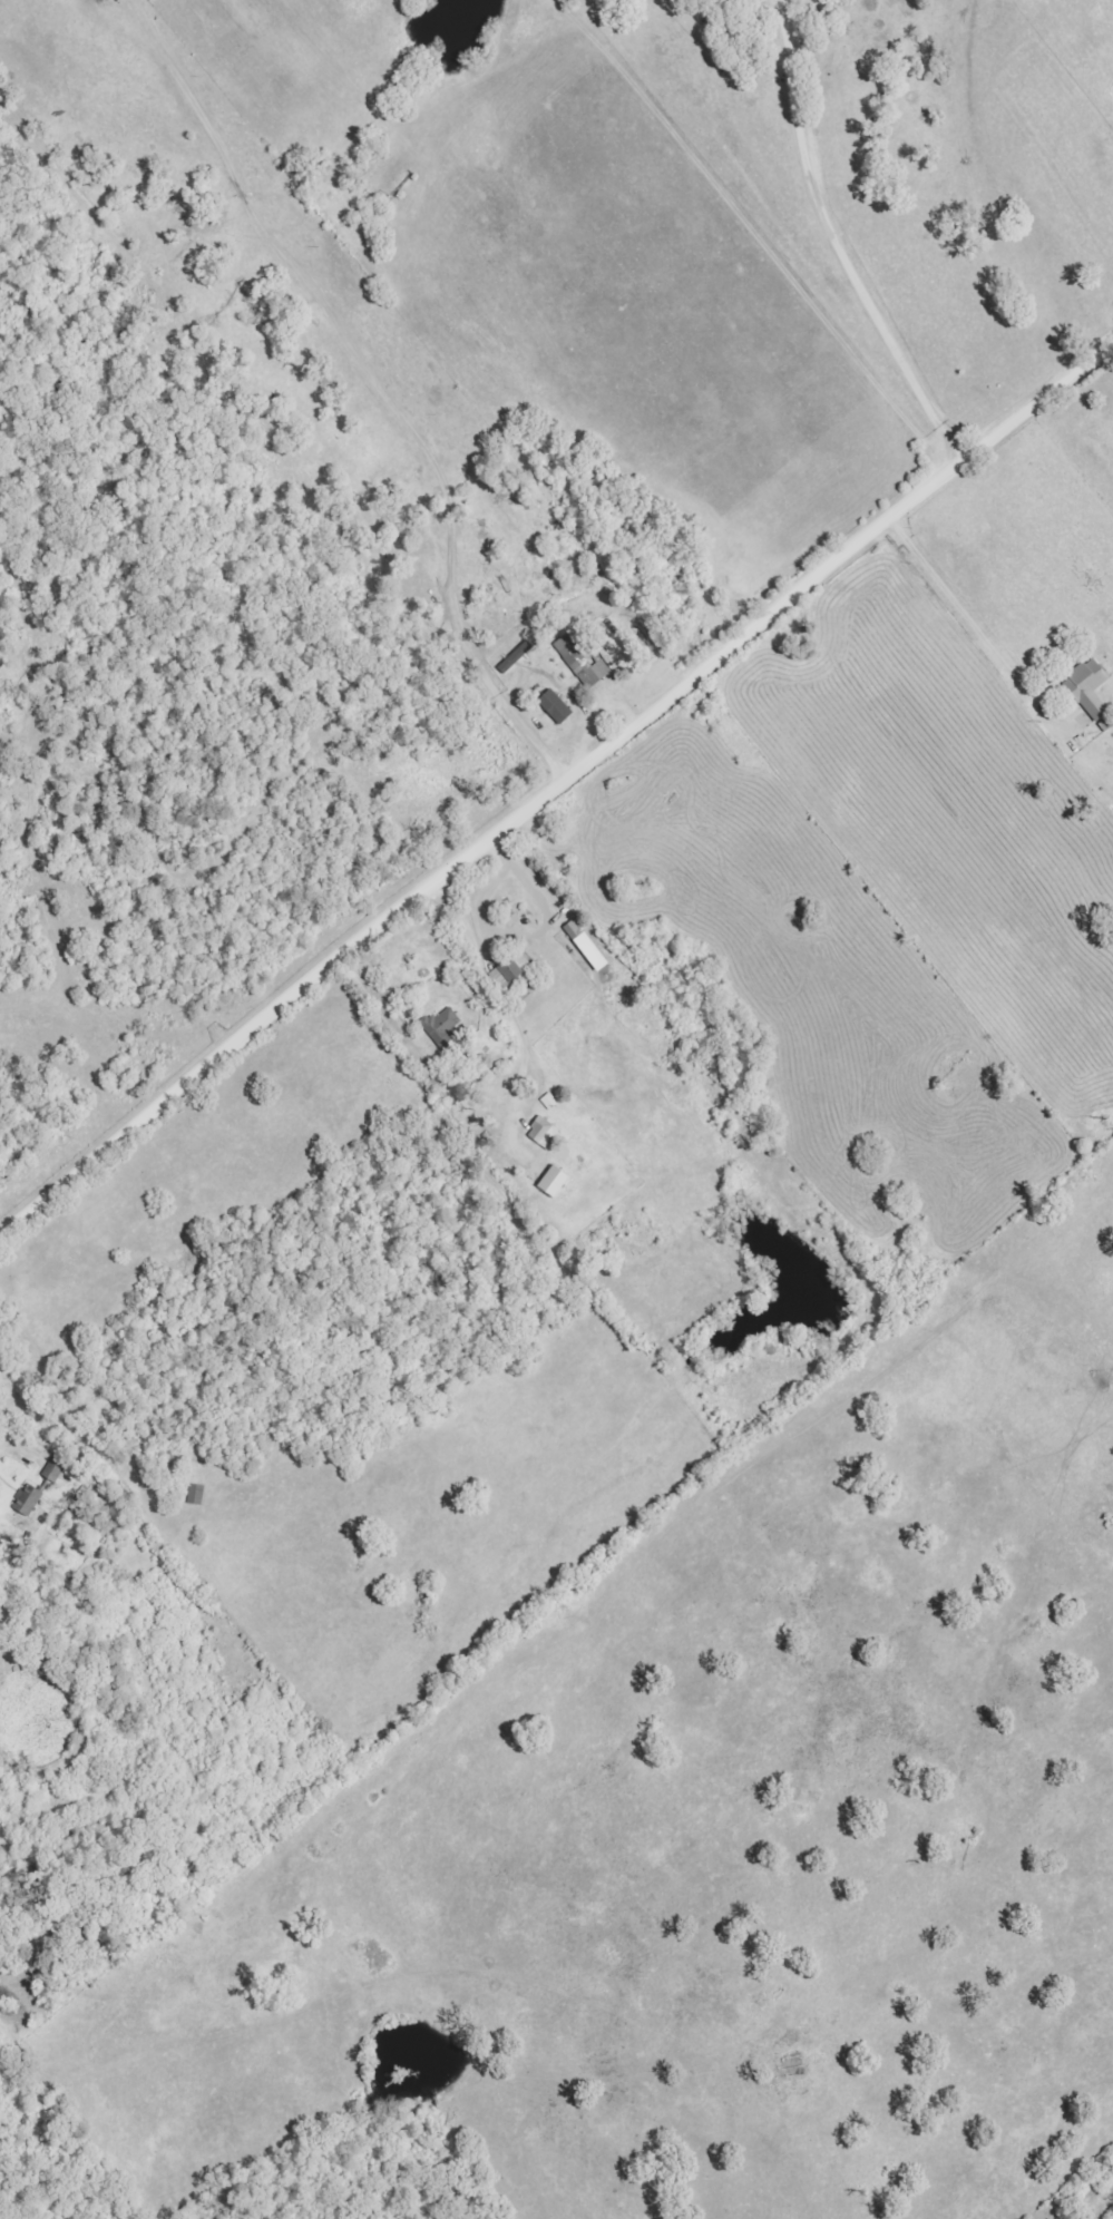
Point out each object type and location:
road: (843, 244)
road: (983, 625)
building: (584, 662)
building: (1087, 688)
building: (555, 707)
road: (553, 792)
building: (510, 970)
building: (441, 1029)
building: (541, 1133)
building: (553, 1181)
building: (195, 1495)
building: (28, 1500)

